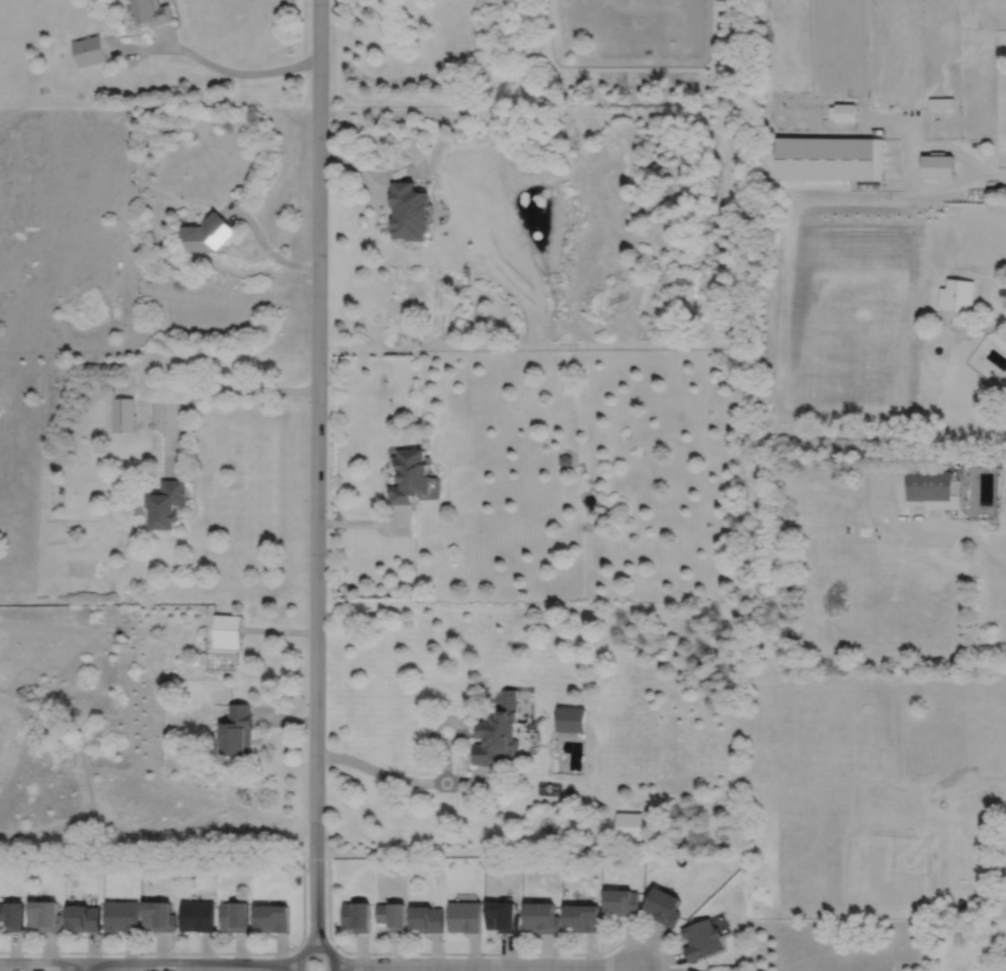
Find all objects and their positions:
building: (150, 12)
building: (89, 51)
road: (212, 64)
building: (942, 103)
building: (849, 111)
road: (497, 114)
road: (999, 157)
building: (831, 159)
building: (938, 165)
road: (978, 165)
road: (357, 169)
road: (999, 175)
road: (970, 184)
road: (1002, 185)
building: (409, 211)
building: (208, 231)
road: (265, 246)
building: (956, 294)
road: (971, 333)
road: (241, 389)
building: (123, 414)
road: (155, 416)
road: (174, 444)
building: (564, 459)
road: (317, 473)
building: (411, 475)
building: (934, 488)
building: (166, 503)
road: (366, 522)
road: (963, 531)
building: (227, 631)
road: (280, 631)
building: (570, 720)
road: (284, 721)
road: (446, 721)
building: (237, 731)
building: (502, 734)
road: (447, 765)
road: (380, 771)
road: (490, 772)
road: (467, 780)
road: (496, 785)
building: (629, 827)
street lamp: (305, 859)
building: (622, 900)
building: (960, 903)
building: (664, 904)
building: (13, 913)
building: (47, 914)
building: (121, 914)
building: (158, 914)
building: (235, 914)
building: (197, 915)
building: (358, 915)
building: (393, 915)
building: (505, 915)
building: (544, 915)
building: (84, 916)
building: (273, 916)
building: (466, 916)
building: (583, 916)
building: (428, 917)
building: (702, 938)
road: (315, 947)
road: (194, 953)
road: (469, 954)
street lamp: (405, 956)
road: (147, 965)
road: (485, 966)
road: (81, 968)
building: (692, 970)

